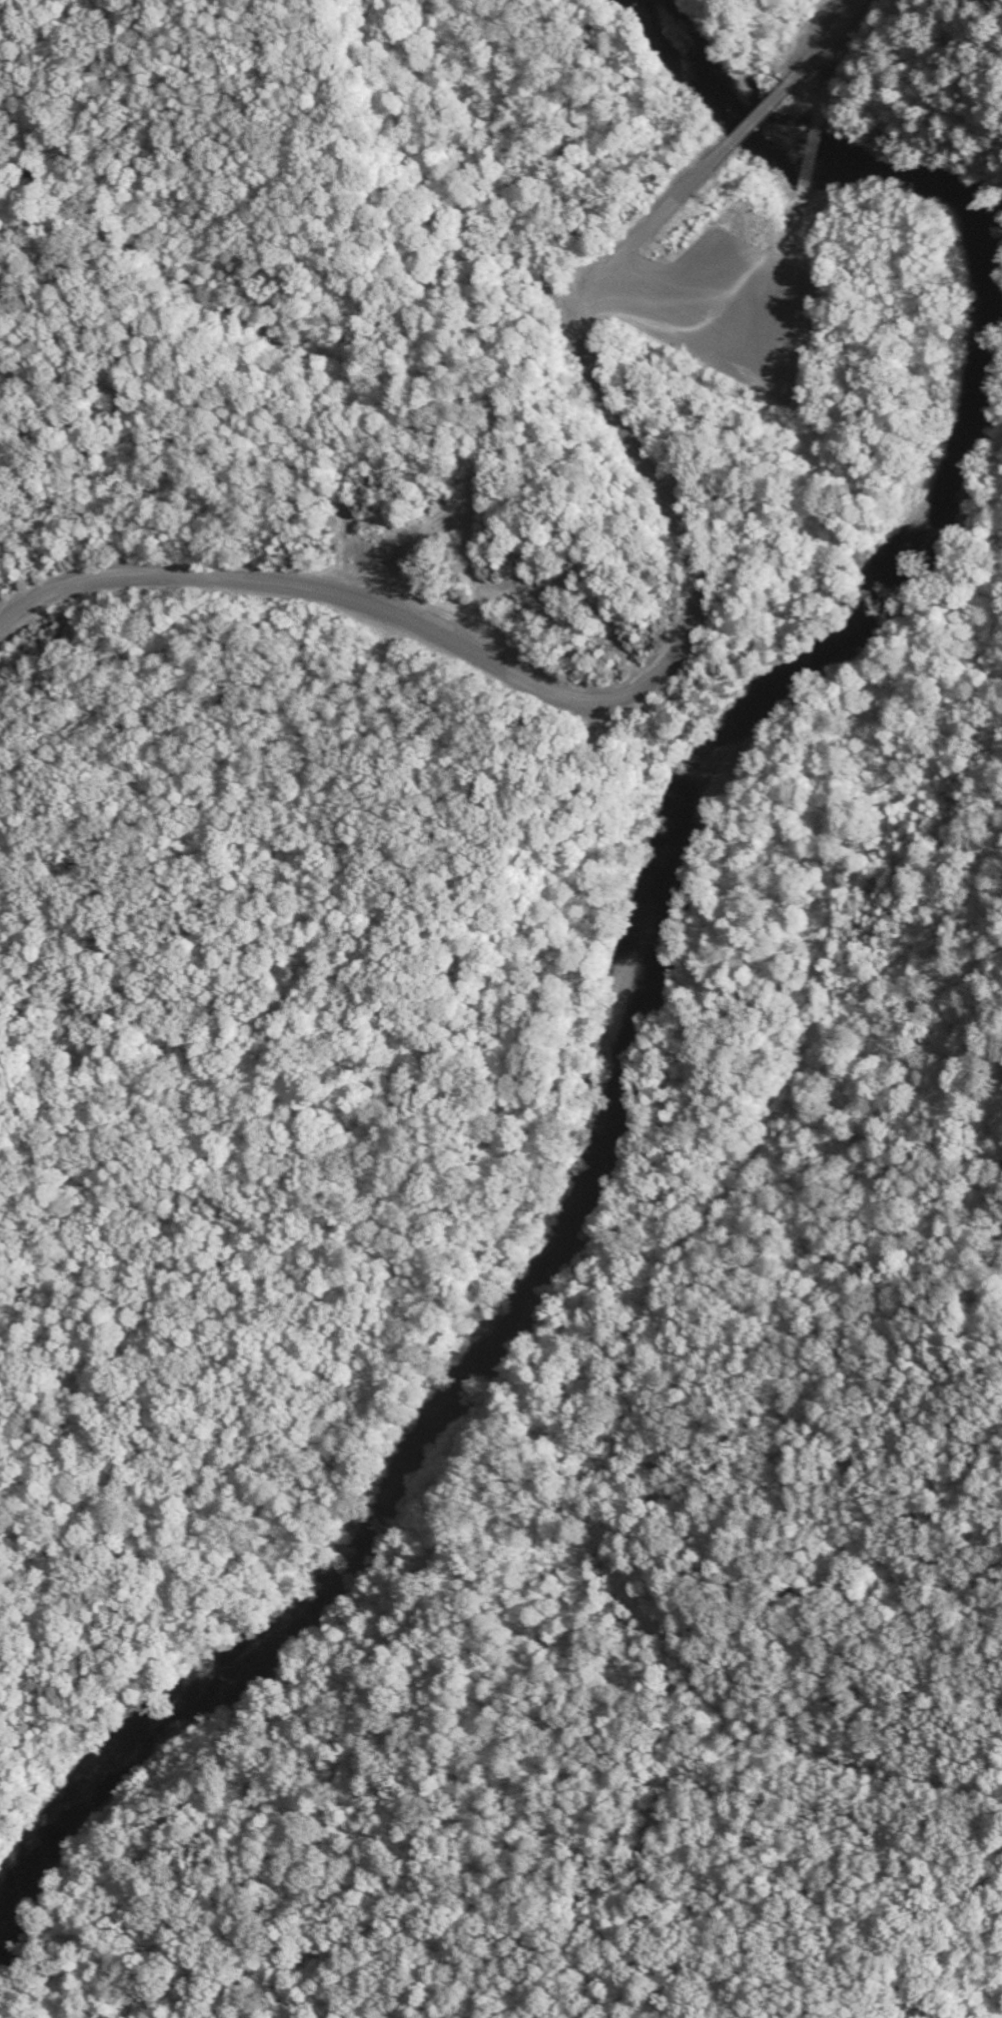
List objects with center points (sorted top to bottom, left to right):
road: (834, 31)
road: (761, 110)
road: (661, 227)
road: (538, 691)
river: (664, 905)

